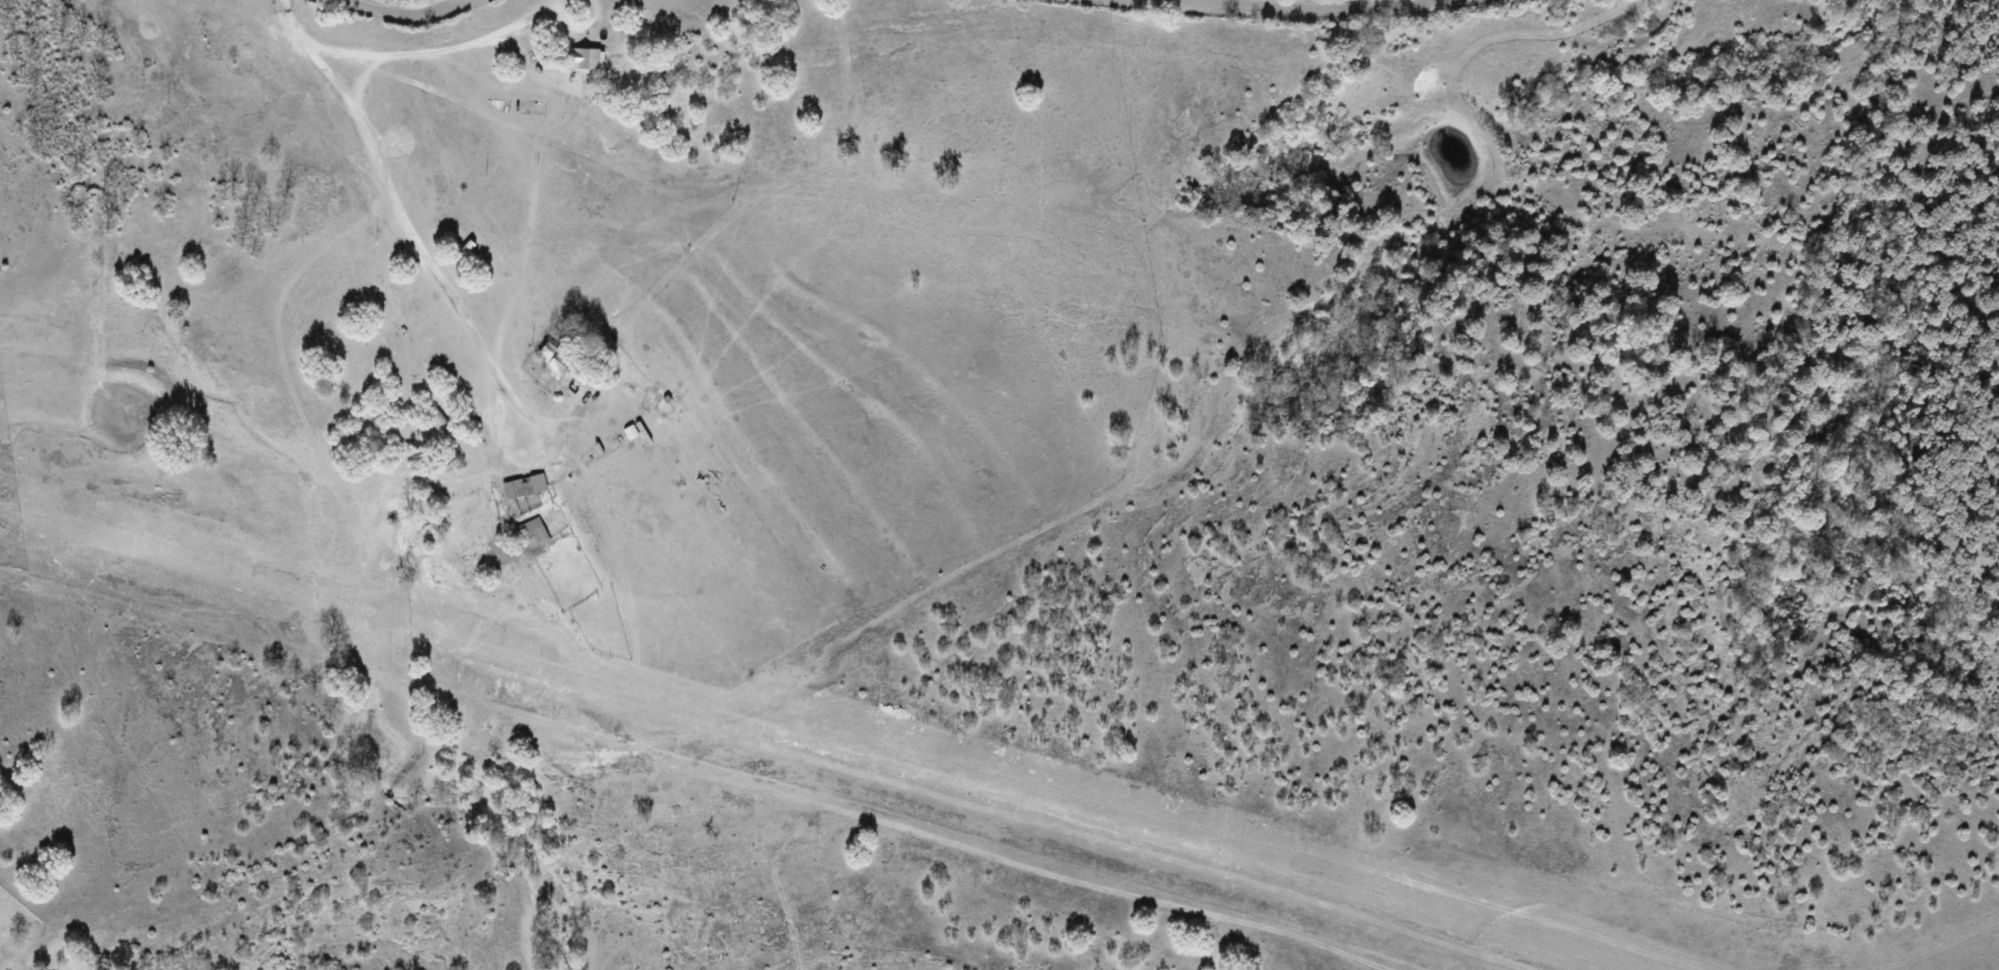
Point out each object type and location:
road: (1320, 7)
road: (408, 14)
building: (578, 60)
road: (390, 190)
building: (466, 248)
building: (554, 360)
building: (461, 446)
building: (526, 486)
building: (534, 534)

